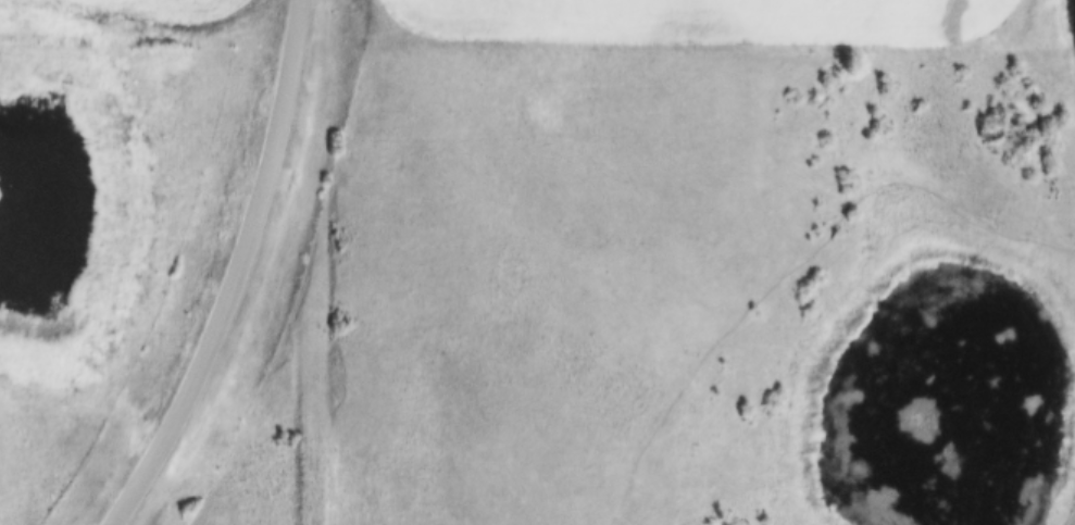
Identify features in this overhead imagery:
road: (235, 272)

